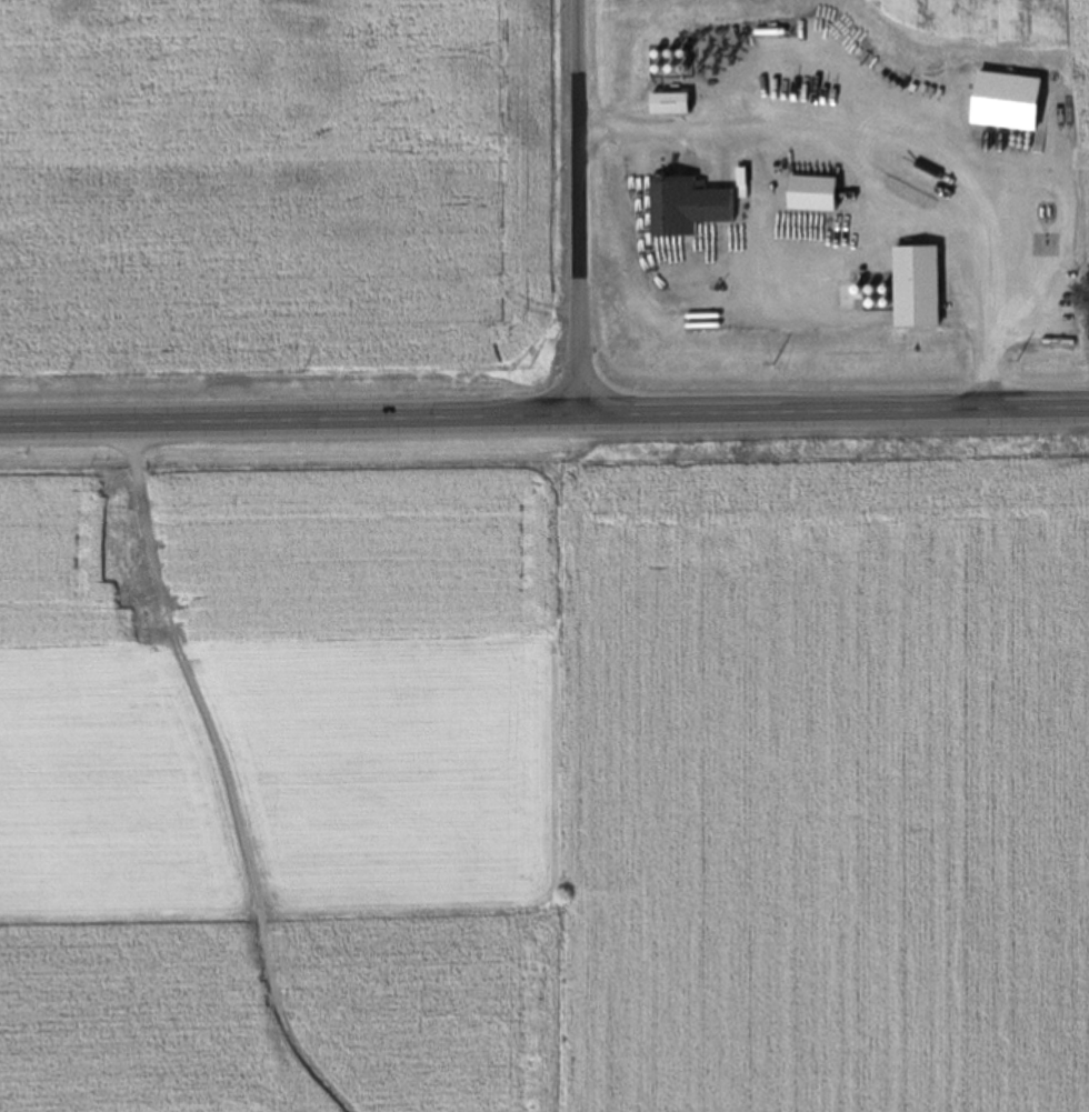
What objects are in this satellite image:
building: (668, 104)
road: (905, 139)
building: (810, 193)
building: (685, 207)
road: (578, 210)
building: (915, 287)
road: (543, 420)

